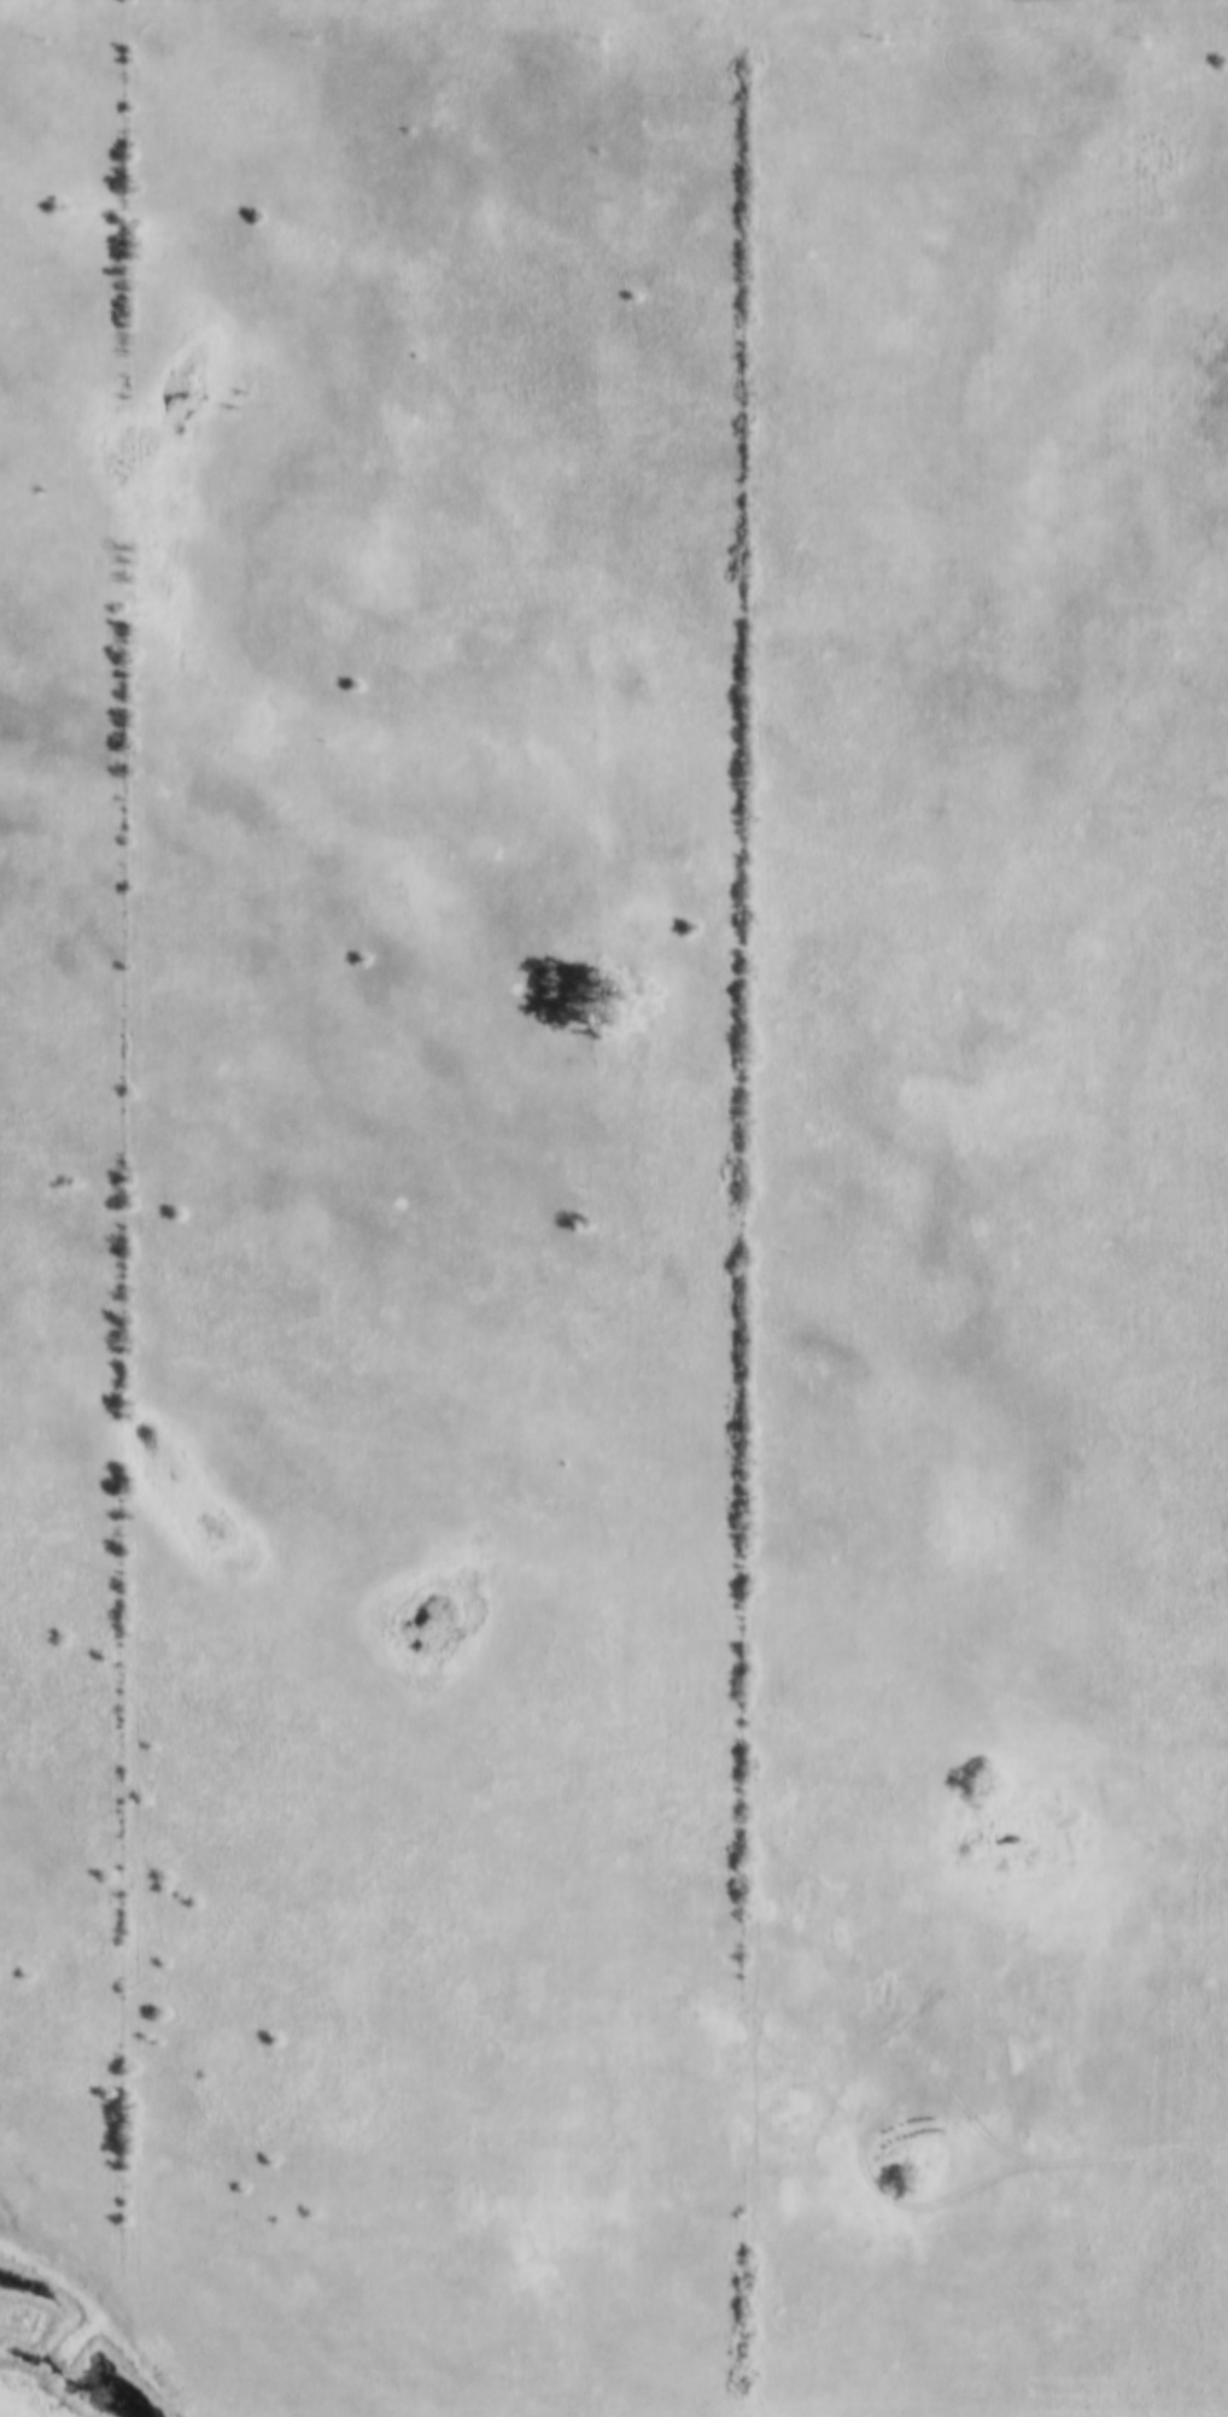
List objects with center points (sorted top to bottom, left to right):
road: (1154, 2153)
road: (945, 2232)

